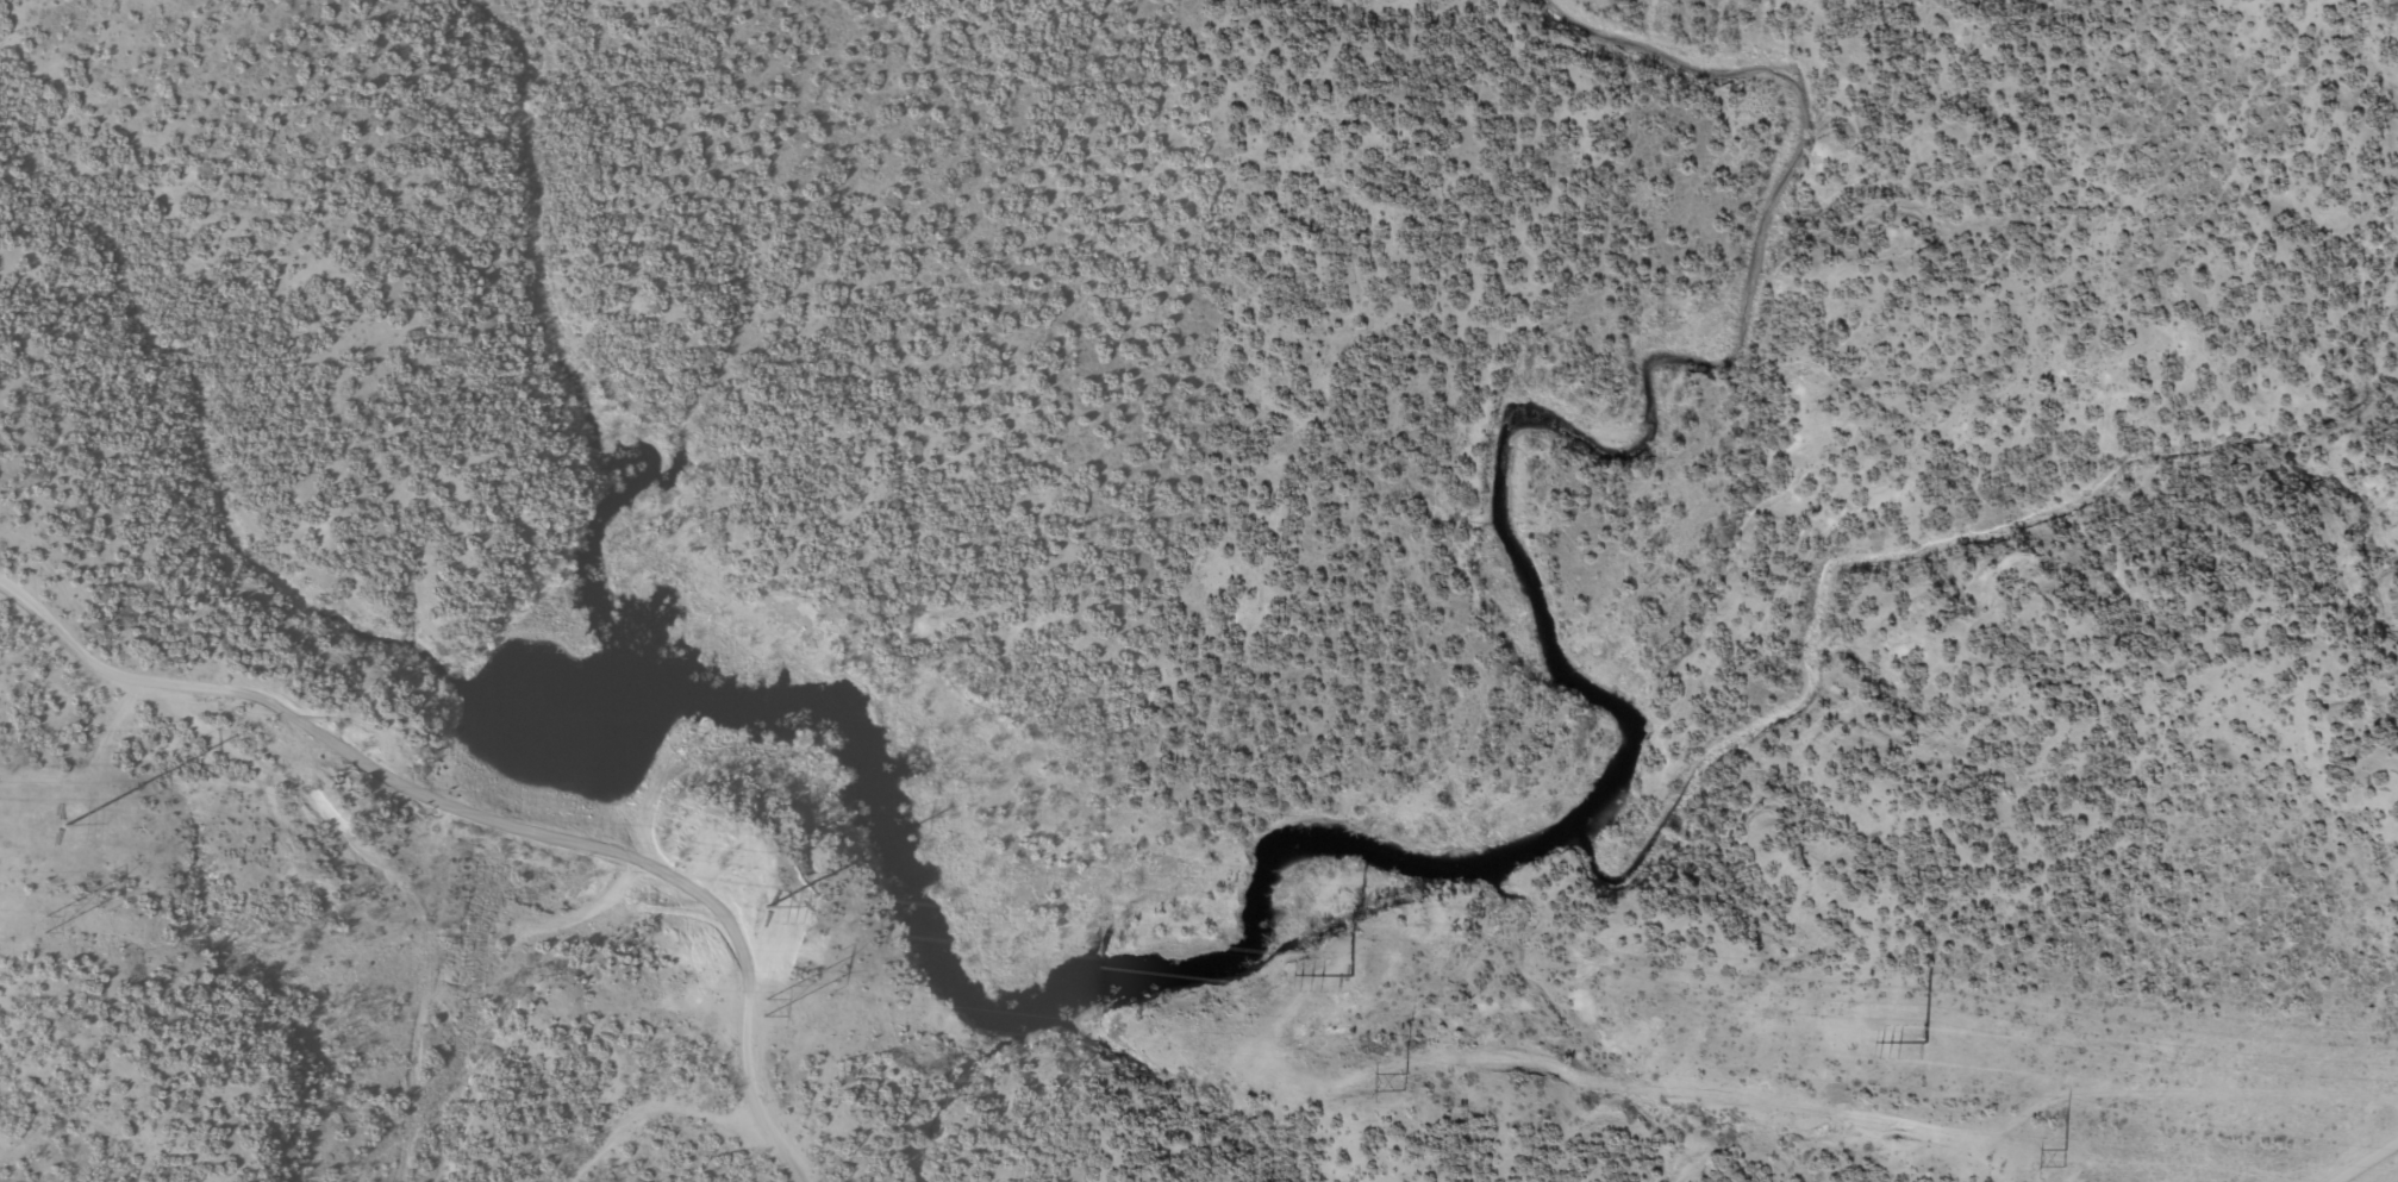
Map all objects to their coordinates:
power tower: (63, 826)
power tower: (763, 908)
power tower: (43, 923)
power tower: (1353, 975)
power tower: (763, 1006)
power tower: (1924, 1040)
power tower: (1407, 1081)
road: (2352, 1147)
power tower: (2063, 1159)

